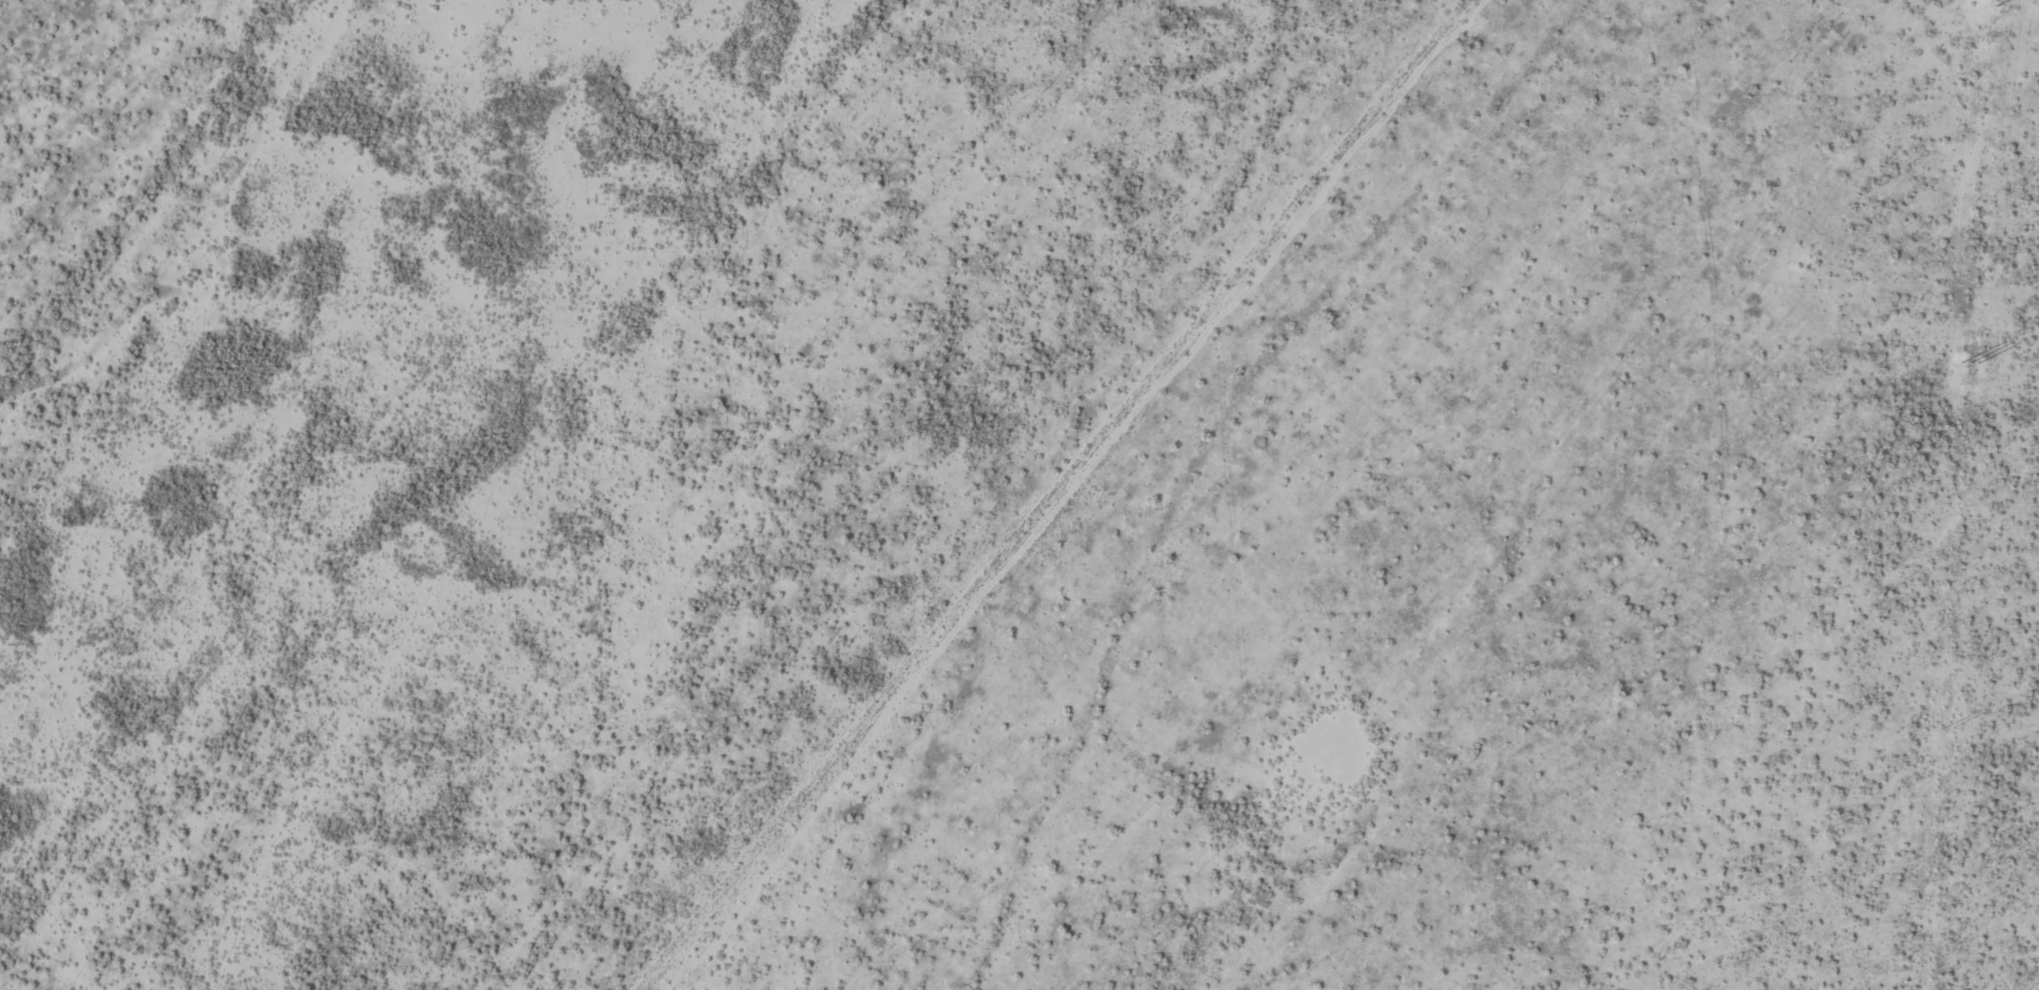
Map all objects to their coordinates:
power tower: (1968, 364)
power tower: (1946, 730)

